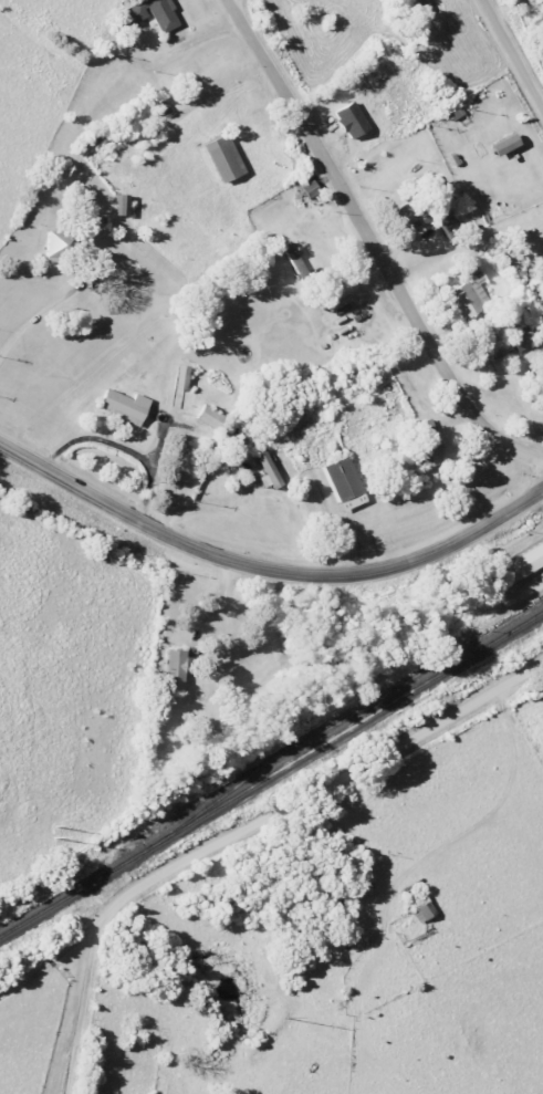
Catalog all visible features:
building: (415, 7)
building: (152, 13)
road: (512, 54)
building: (351, 112)
building: (502, 145)
building: (222, 158)
building: (119, 205)
building: (421, 217)
building: (447, 223)
road: (373, 243)
building: (61, 248)
building: (293, 261)
building: (467, 292)
road: (32, 316)
building: (504, 341)
building: (180, 377)
building: (541, 379)
building: (123, 406)
building: (209, 418)
building: (426, 445)
building: (264, 470)
building: (343, 483)
road: (190, 507)
building: (522, 562)
road: (268, 571)
building: (174, 670)
railway: (272, 775)
road: (241, 831)
building: (421, 911)
road: (52, 962)

